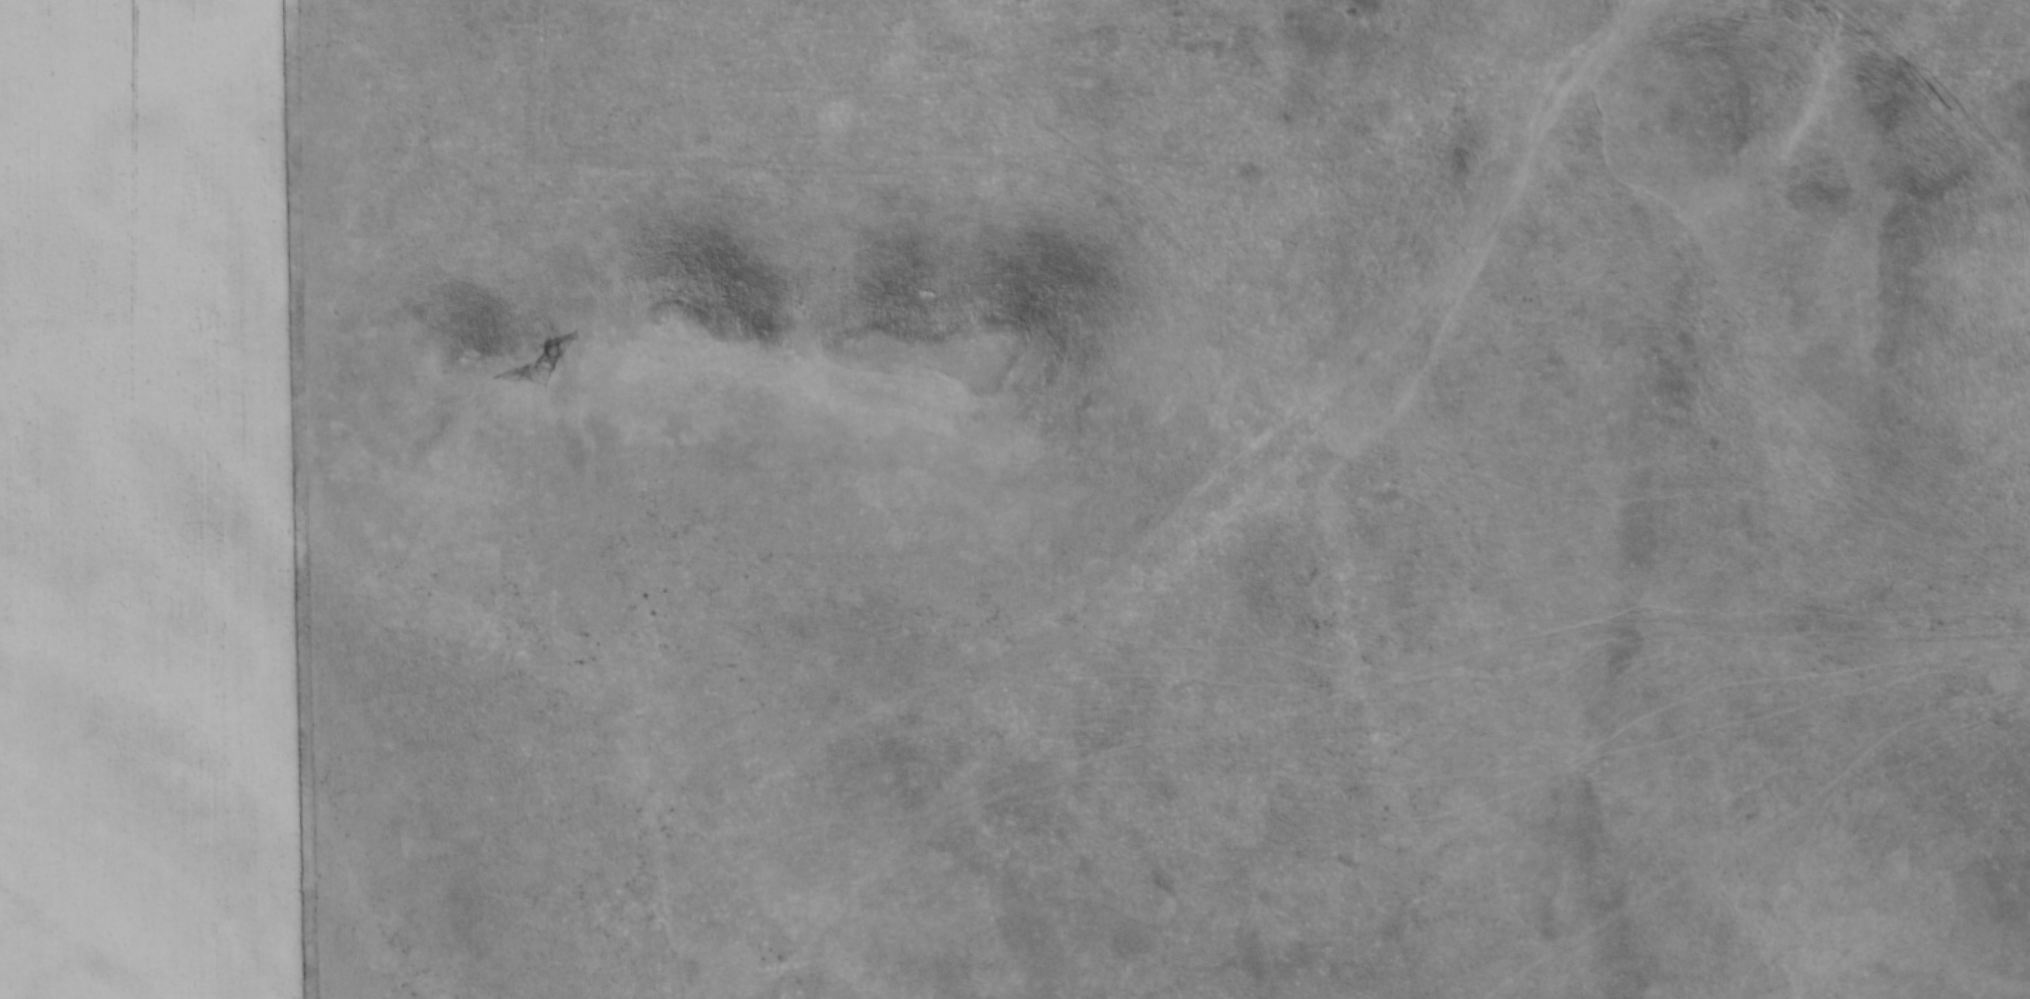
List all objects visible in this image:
power tower: (539, 381)

